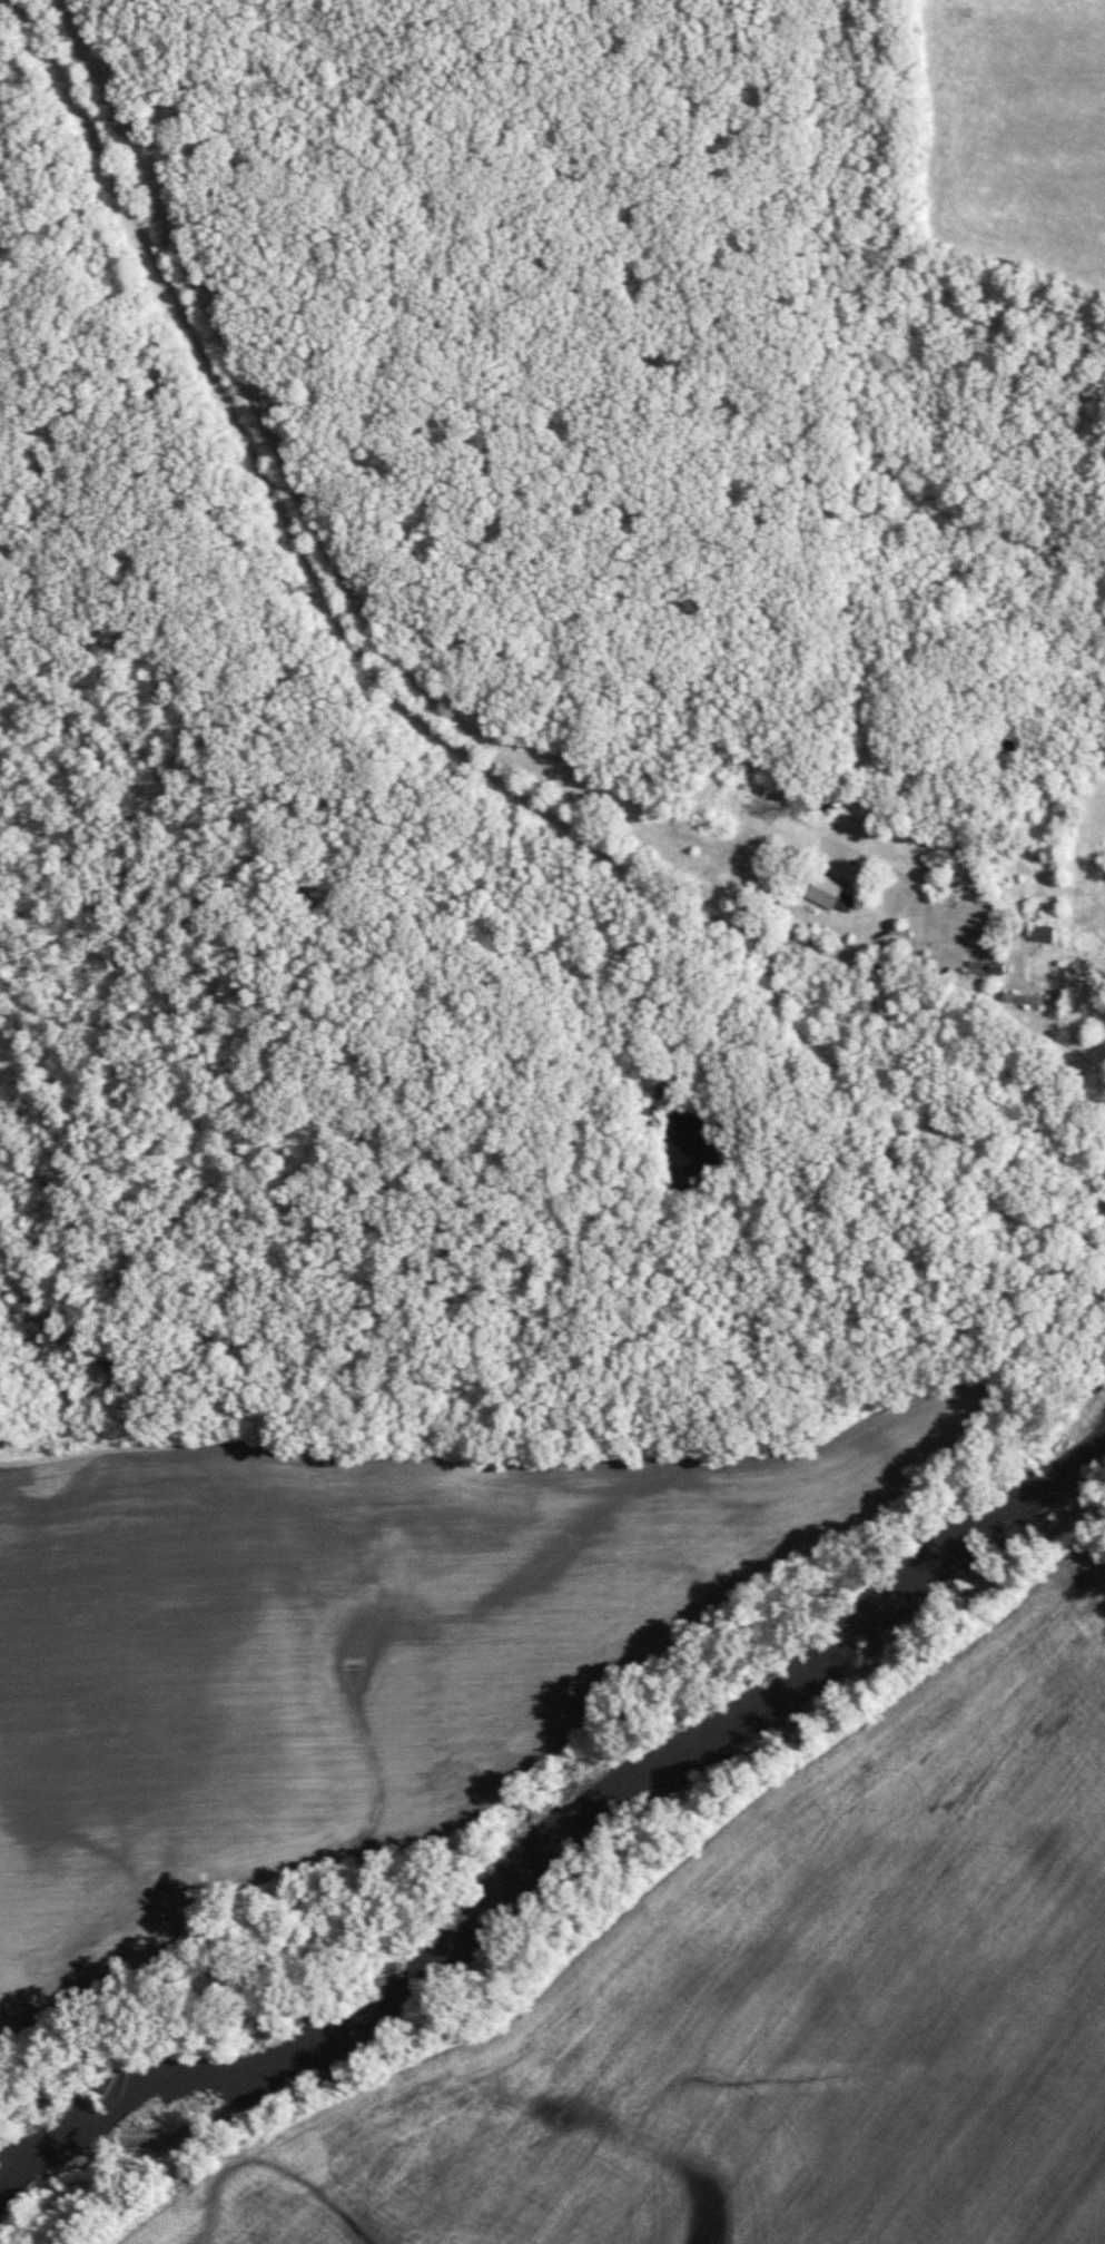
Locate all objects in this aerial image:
road: (346, 640)
building: (825, 892)
building: (1040, 935)
building: (985, 967)
building: (1025, 1000)
crop: (336, 1643)
crop: (778, 2015)

